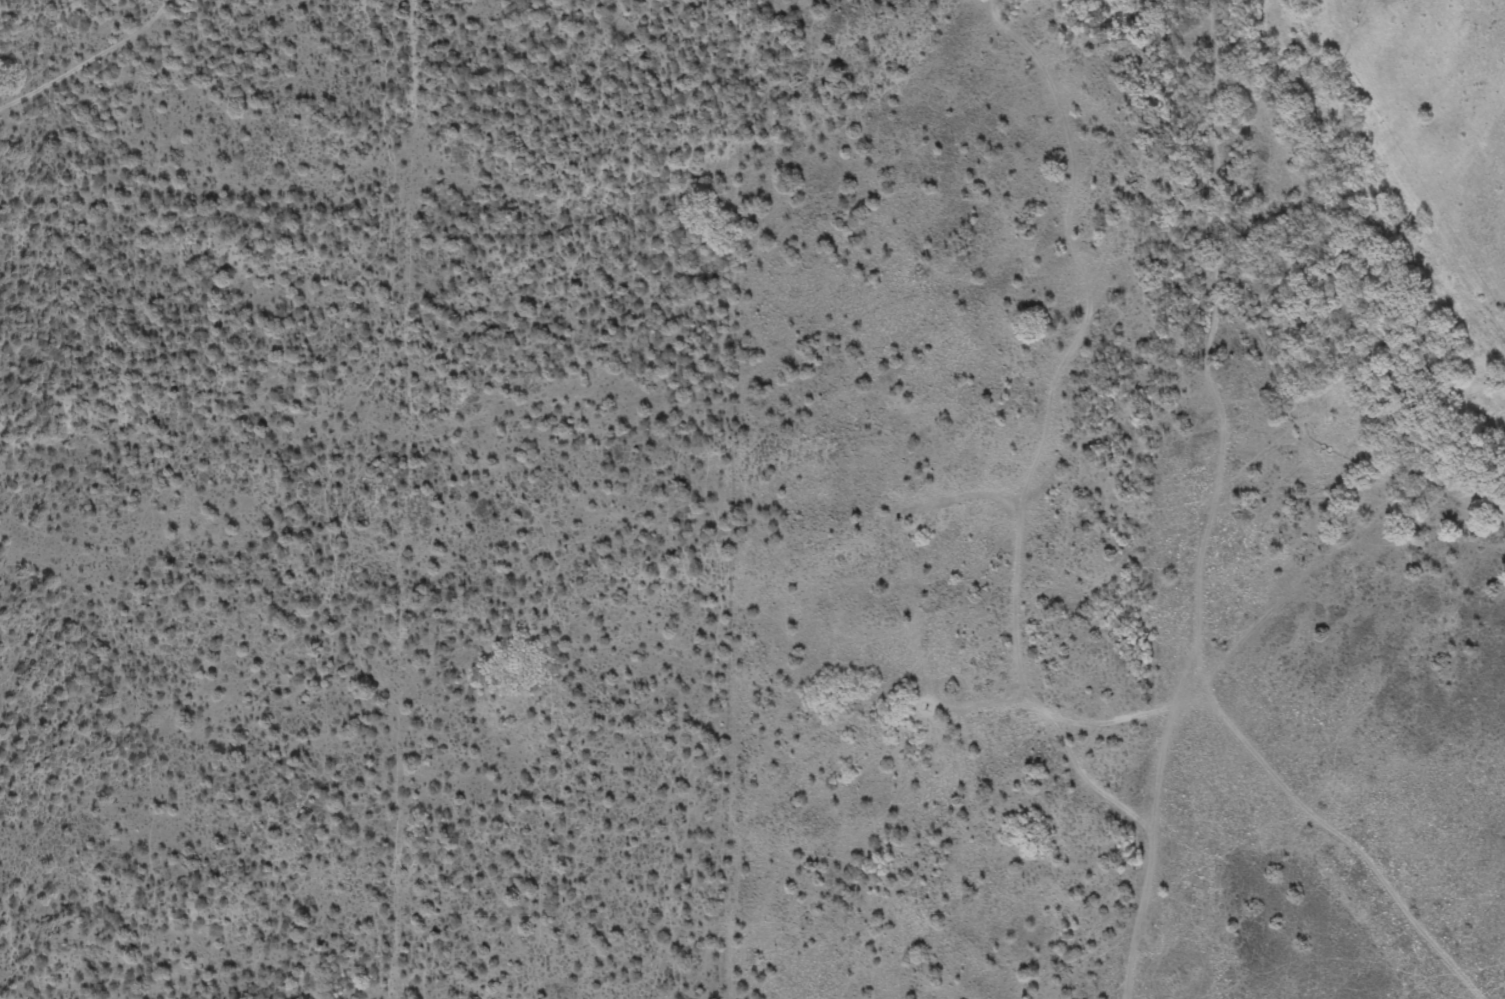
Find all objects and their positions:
road: (100, 75)

